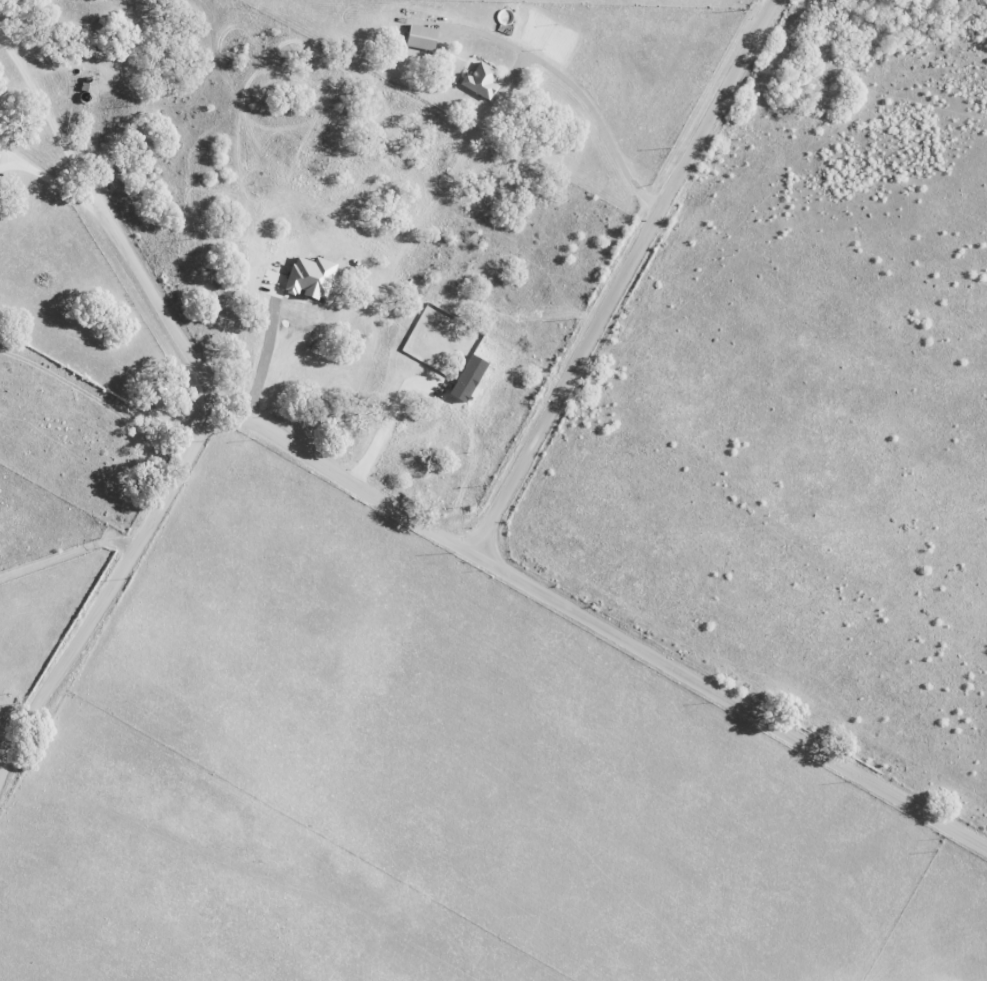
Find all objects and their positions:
building: (424, 37)
building: (483, 81)
road: (595, 123)
road: (48, 128)
road: (136, 256)
road: (620, 275)
building: (313, 277)
road: (265, 366)
building: (471, 378)
road: (390, 415)
road: (354, 482)
road: (68, 555)
road: (109, 593)
road: (731, 701)

